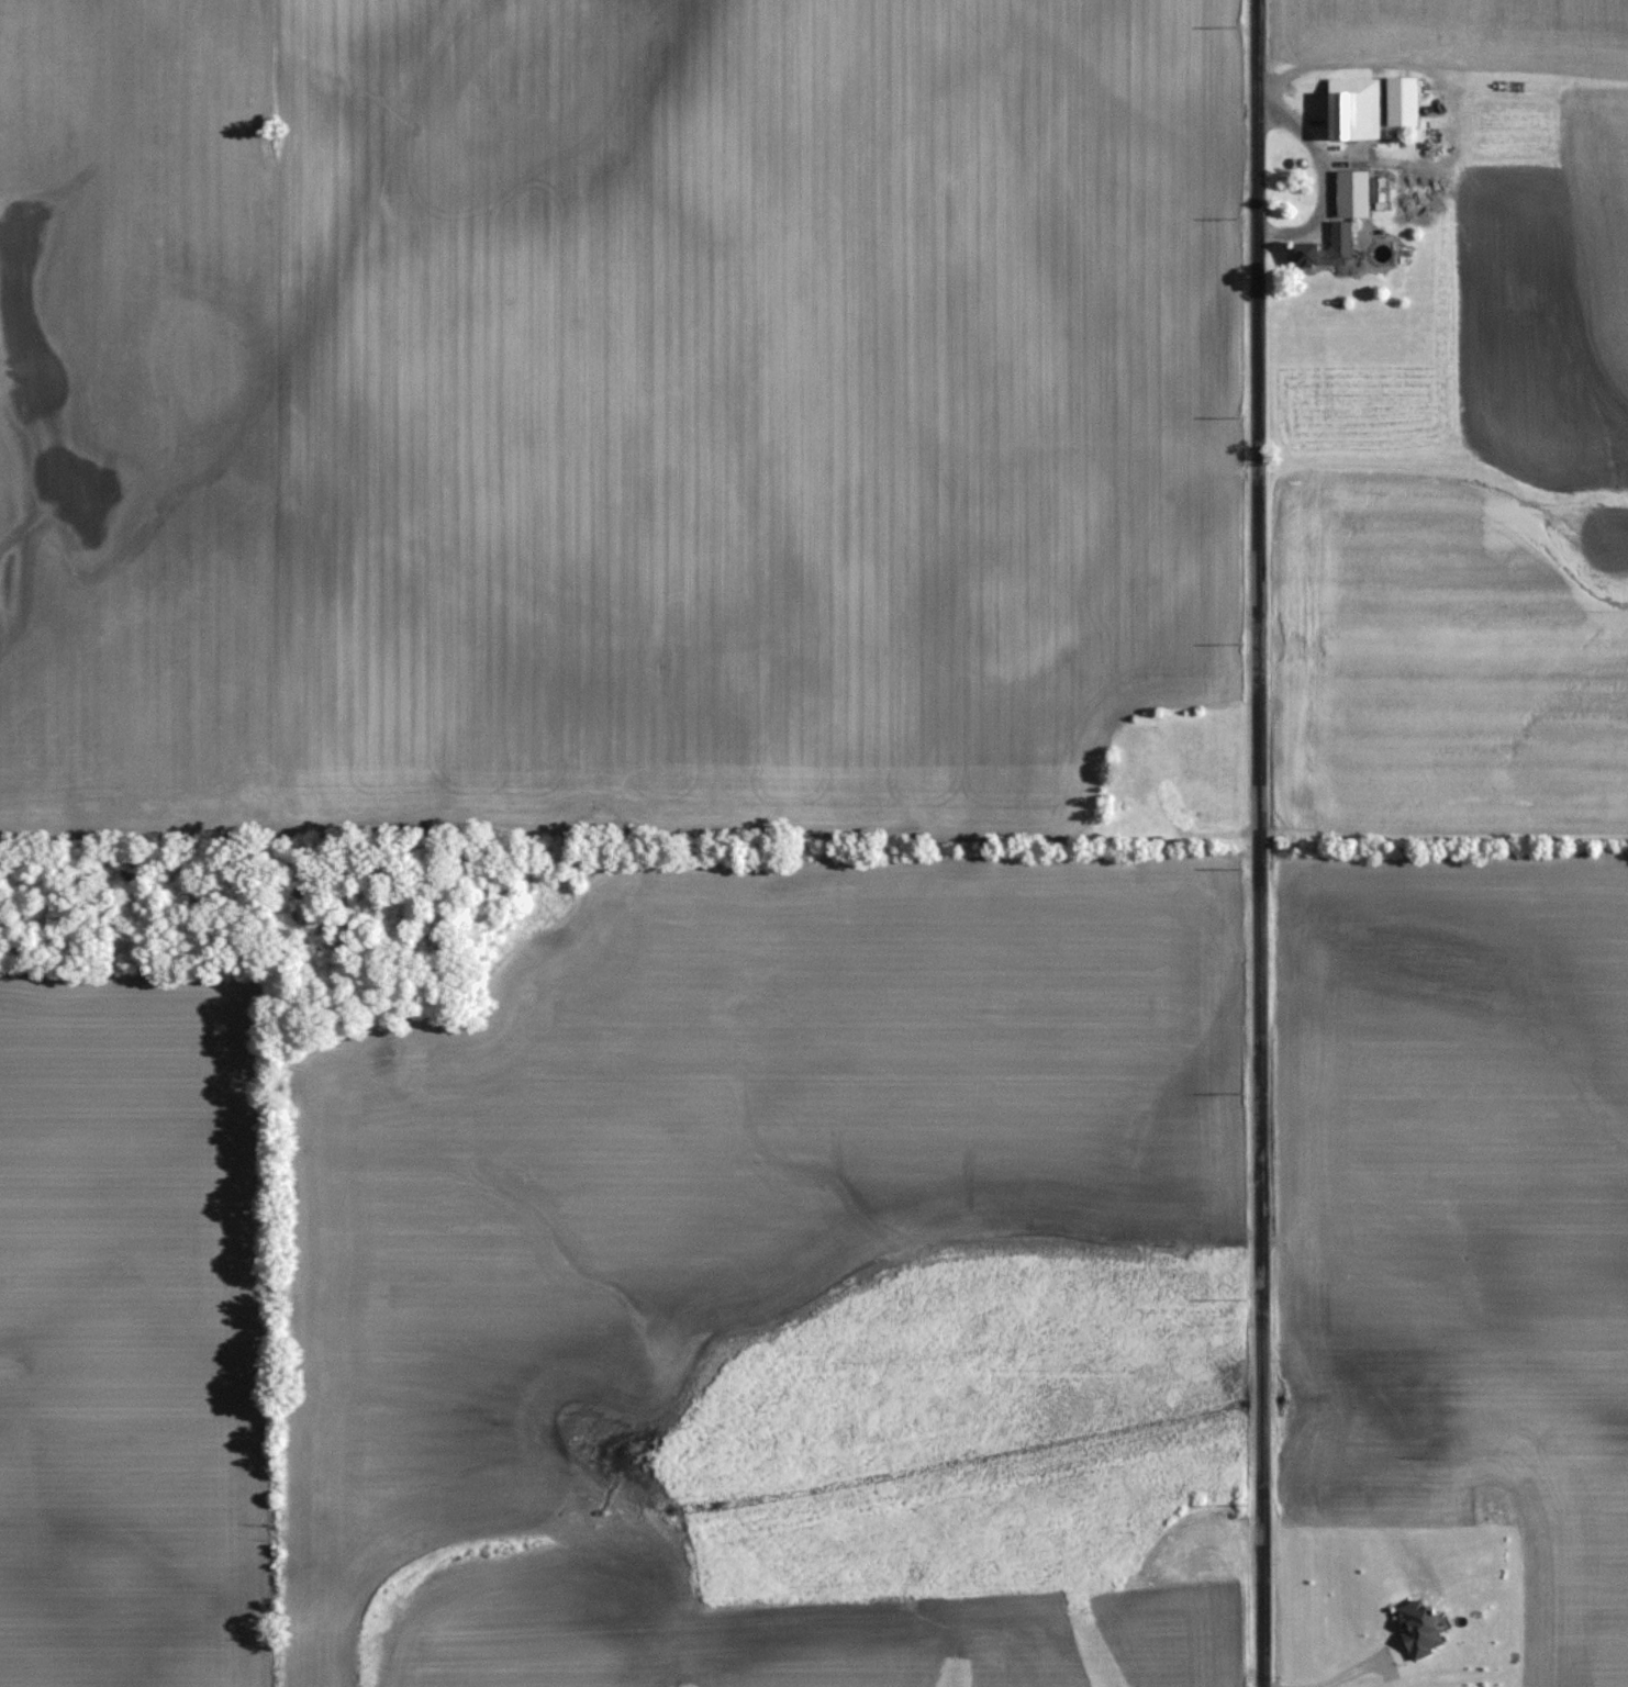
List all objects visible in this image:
crop: (1458, 33)
road: (1290, 120)
road: (1322, 200)
crop: (1493, 310)
crop: (737, 407)
crop: (135, 418)
crop: (1459, 651)
road: (1260, 842)
crop: (735, 1152)
crop: (1465, 1220)
crop: (131, 1337)
crop: (718, 1632)

